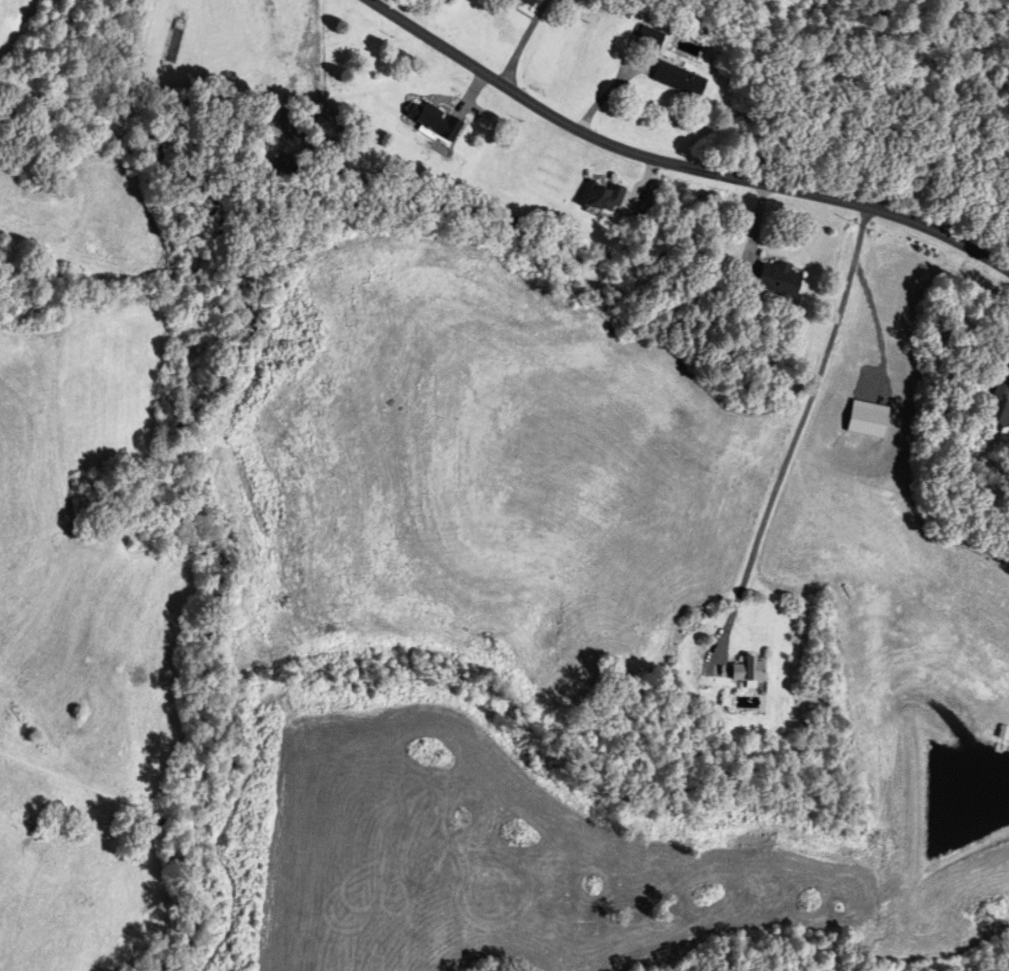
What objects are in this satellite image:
building: (530, 2)
building: (650, 38)
road: (522, 44)
building: (680, 79)
building: (436, 121)
road: (674, 166)
building: (603, 197)
building: (780, 279)
building: (1001, 405)
road: (799, 429)
building: (751, 670)

